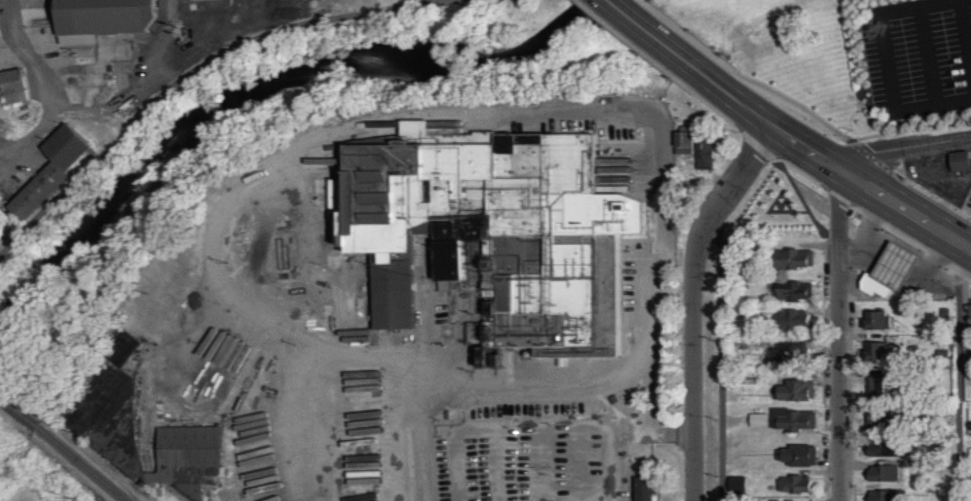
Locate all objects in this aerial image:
road: (406, 1)
road: (920, 6)
building: (2, 15)
building: (106, 15)
road: (681, 29)
road: (966, 32)
road: (656, 35)
road: (928, 56)
parking lot: (918, 57)
road: (889, 62)
road: (180, 80)
building: (15, 85)
road: (47, 88)
river: (253, 93)
road: (518, 105)
road: (934, 105)
road: (844, 135)
road: (905, 147)
building: (700, 149)
building: (962, 160)
road: (831, 163)
building: (51, 171)
building: (4, 216)
building: (495, 234)
building: (803, 259)
building: (895, 268)
gas station: (895, 268)
building: (801, 291)
road: (693, 301)
building: (800, 319)
building: (880, 320)
road: (840, 337)
building: (880, 351)
building: (795, 352)
road: (722, 360)
road: (959, 372)
building: (876, 385)
building: (801, 390)
railway: (18, 410)
building: (799, 419)
building: (762, 420)
building: (881, 421)
road: (621, 428)
road: (423, 440)
building: (890, 448)
building: (189, 453)
building: (801, 455)
railway: (78, 463)
building: (886, 473)
building: (798, 484)
building: (645, 488)
building: (889, 495)

